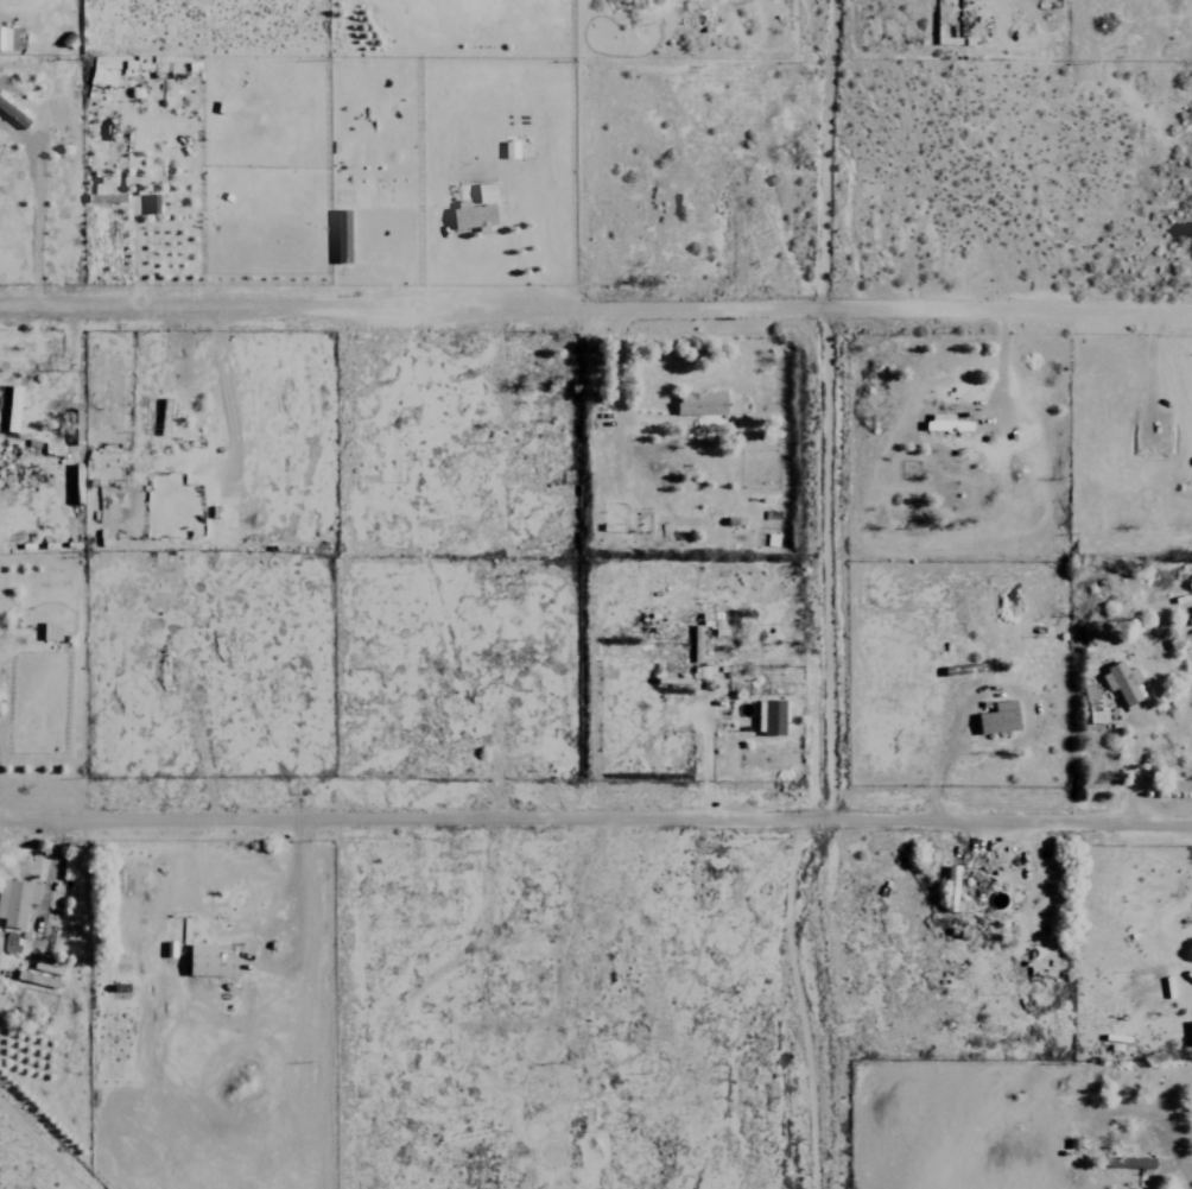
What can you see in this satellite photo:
road: (596, 308)
road: (830, 406)
road: (596, 814)
building: (19, 903)
road: (296, 932)
building: (214, 965)
building: (42, 975)
road: (829, 1001)
road: (1173, 1160)

